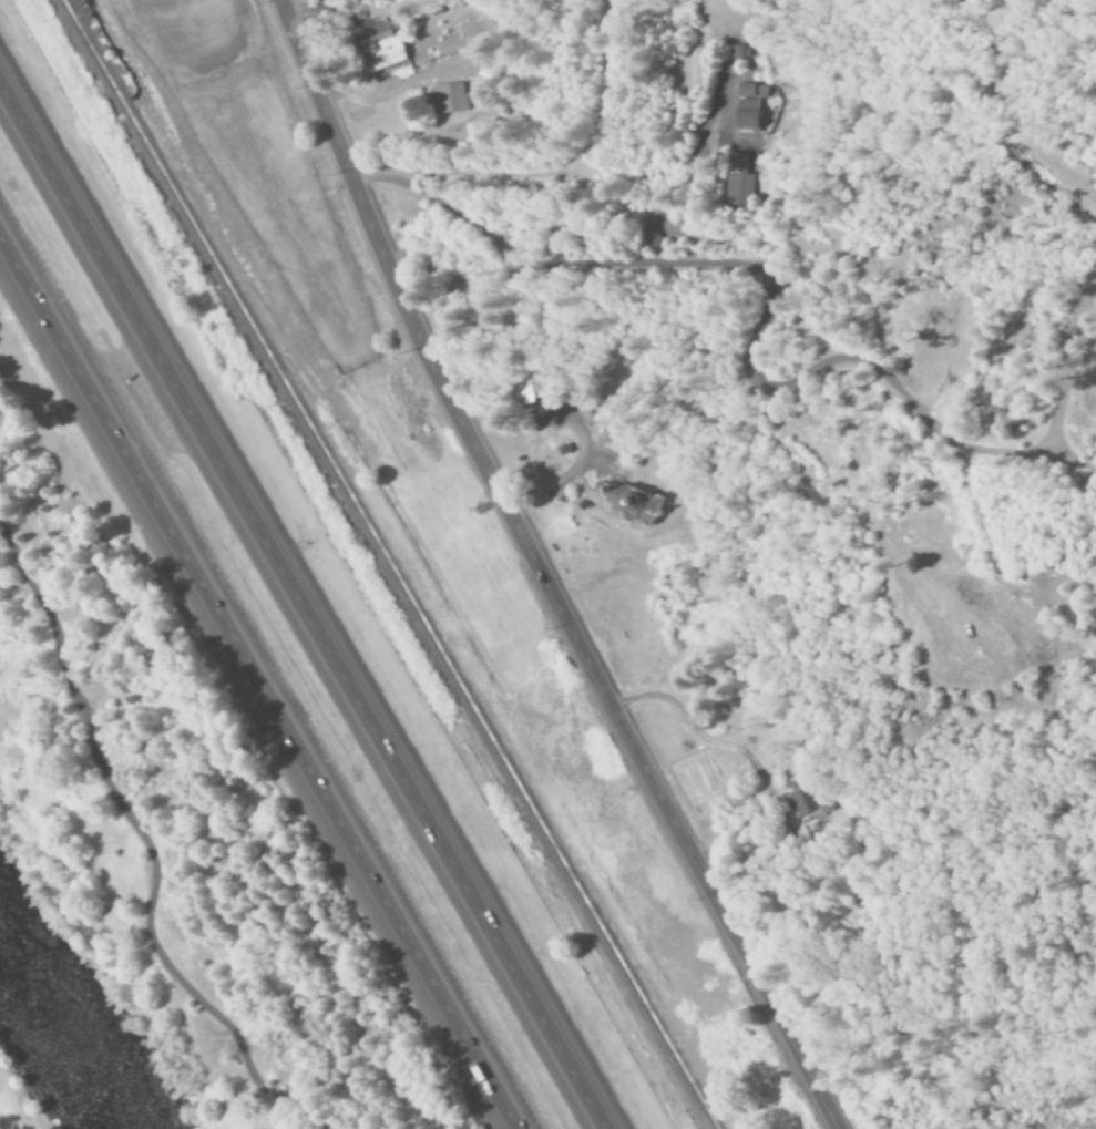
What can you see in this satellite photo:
building: (385, 52)
building: (751, 91)
building: (447, 97)
building: (746, 114)
building: (740, 182)
building: (631, 504)
railway: (386, 564)
road: (536, 573)
road: (303, 605)
road: (256, 678)
building: (802, 801)
road: (150, 846)
river: (59, 1035)

